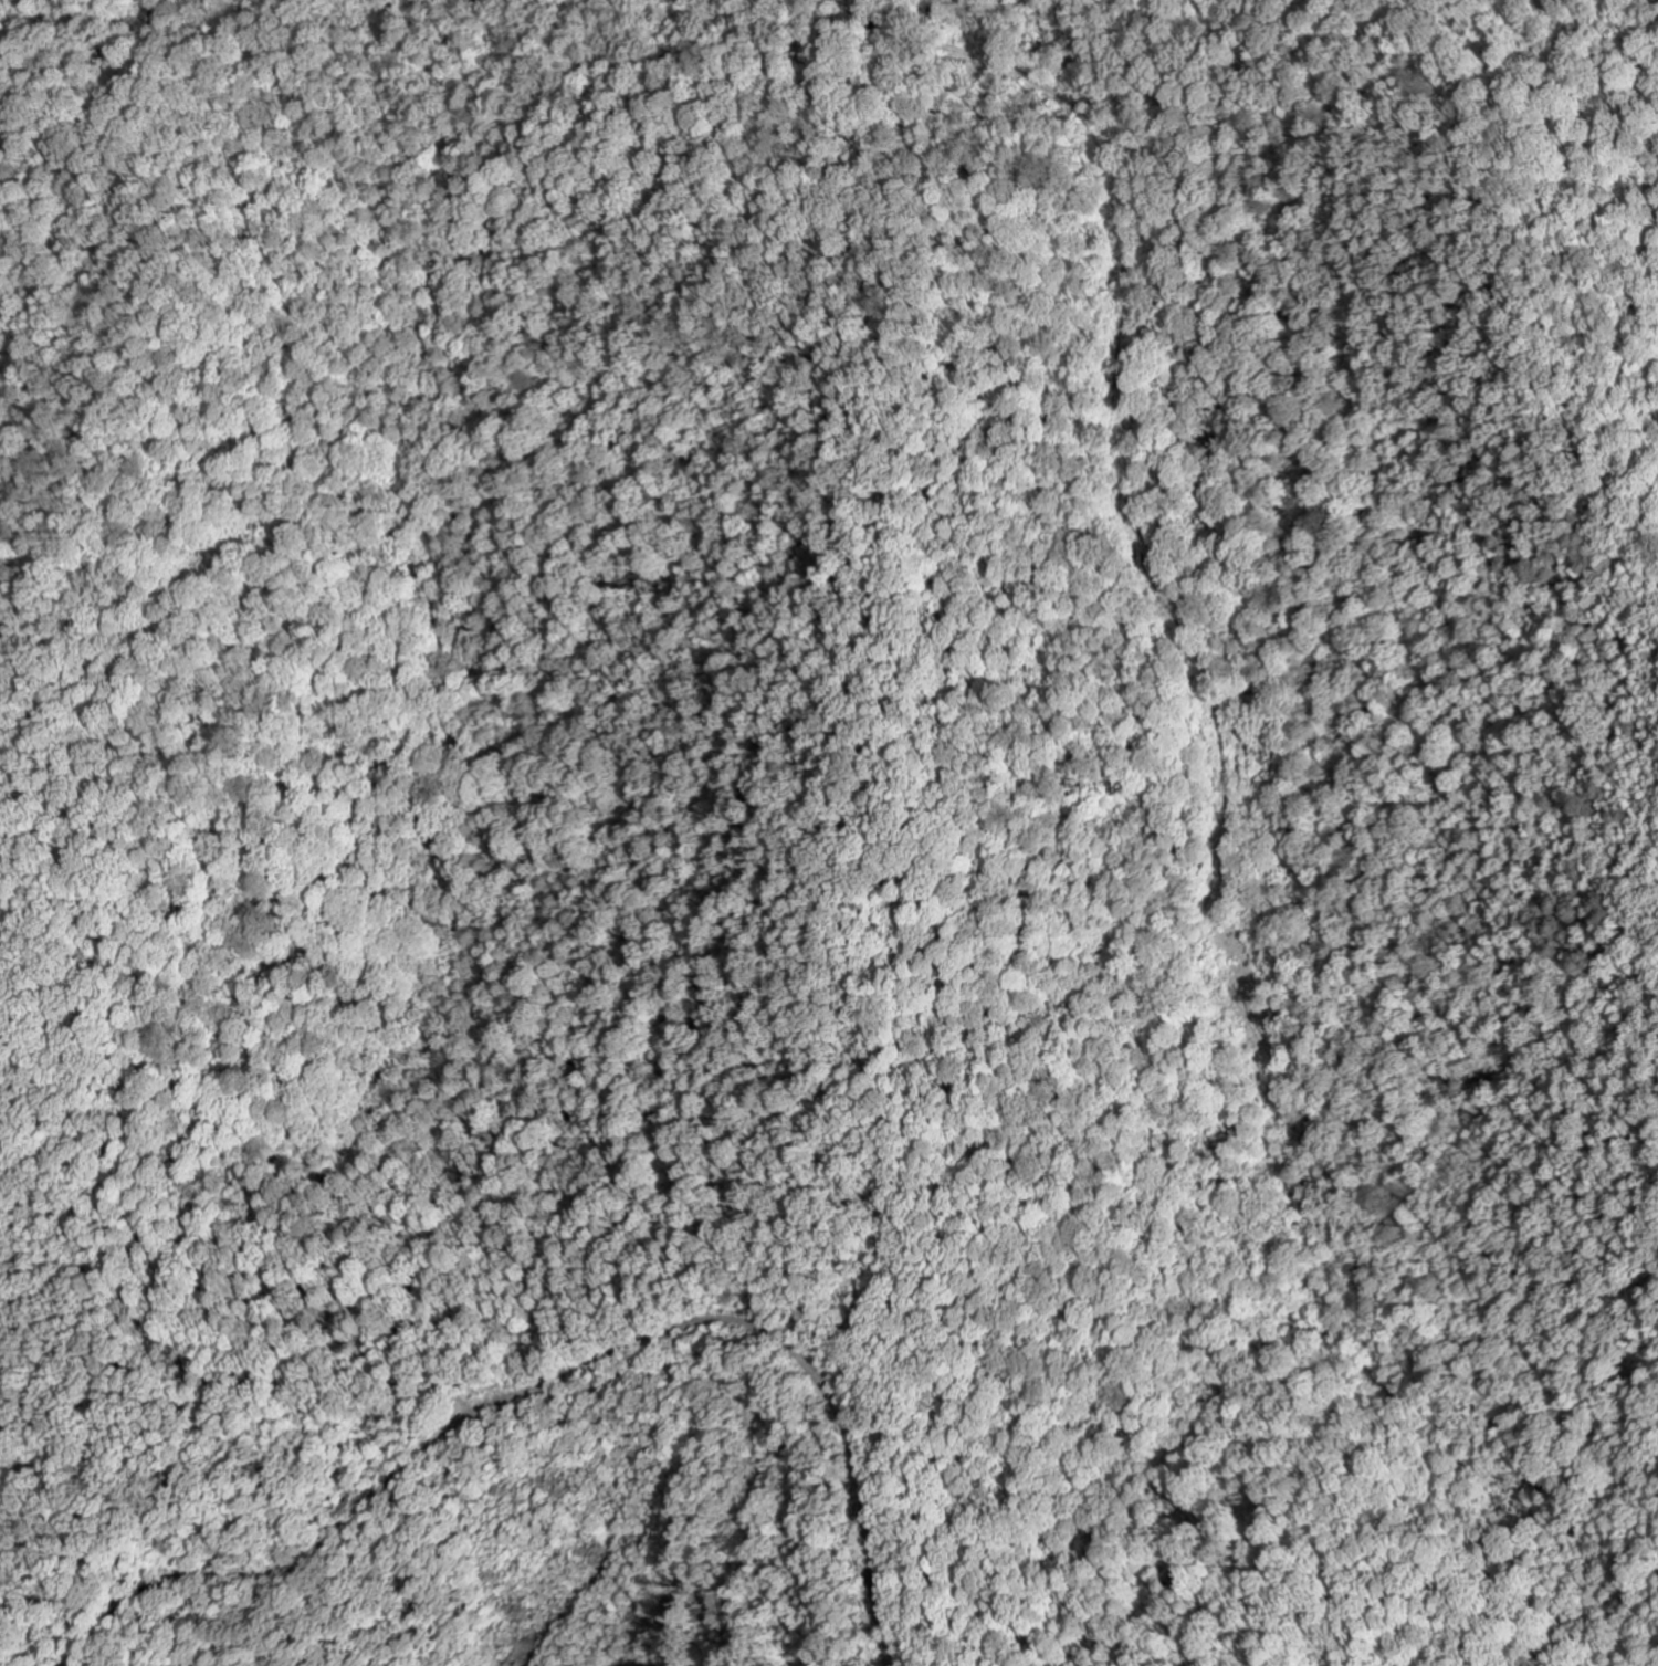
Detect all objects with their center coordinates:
road: (554, 1381)

